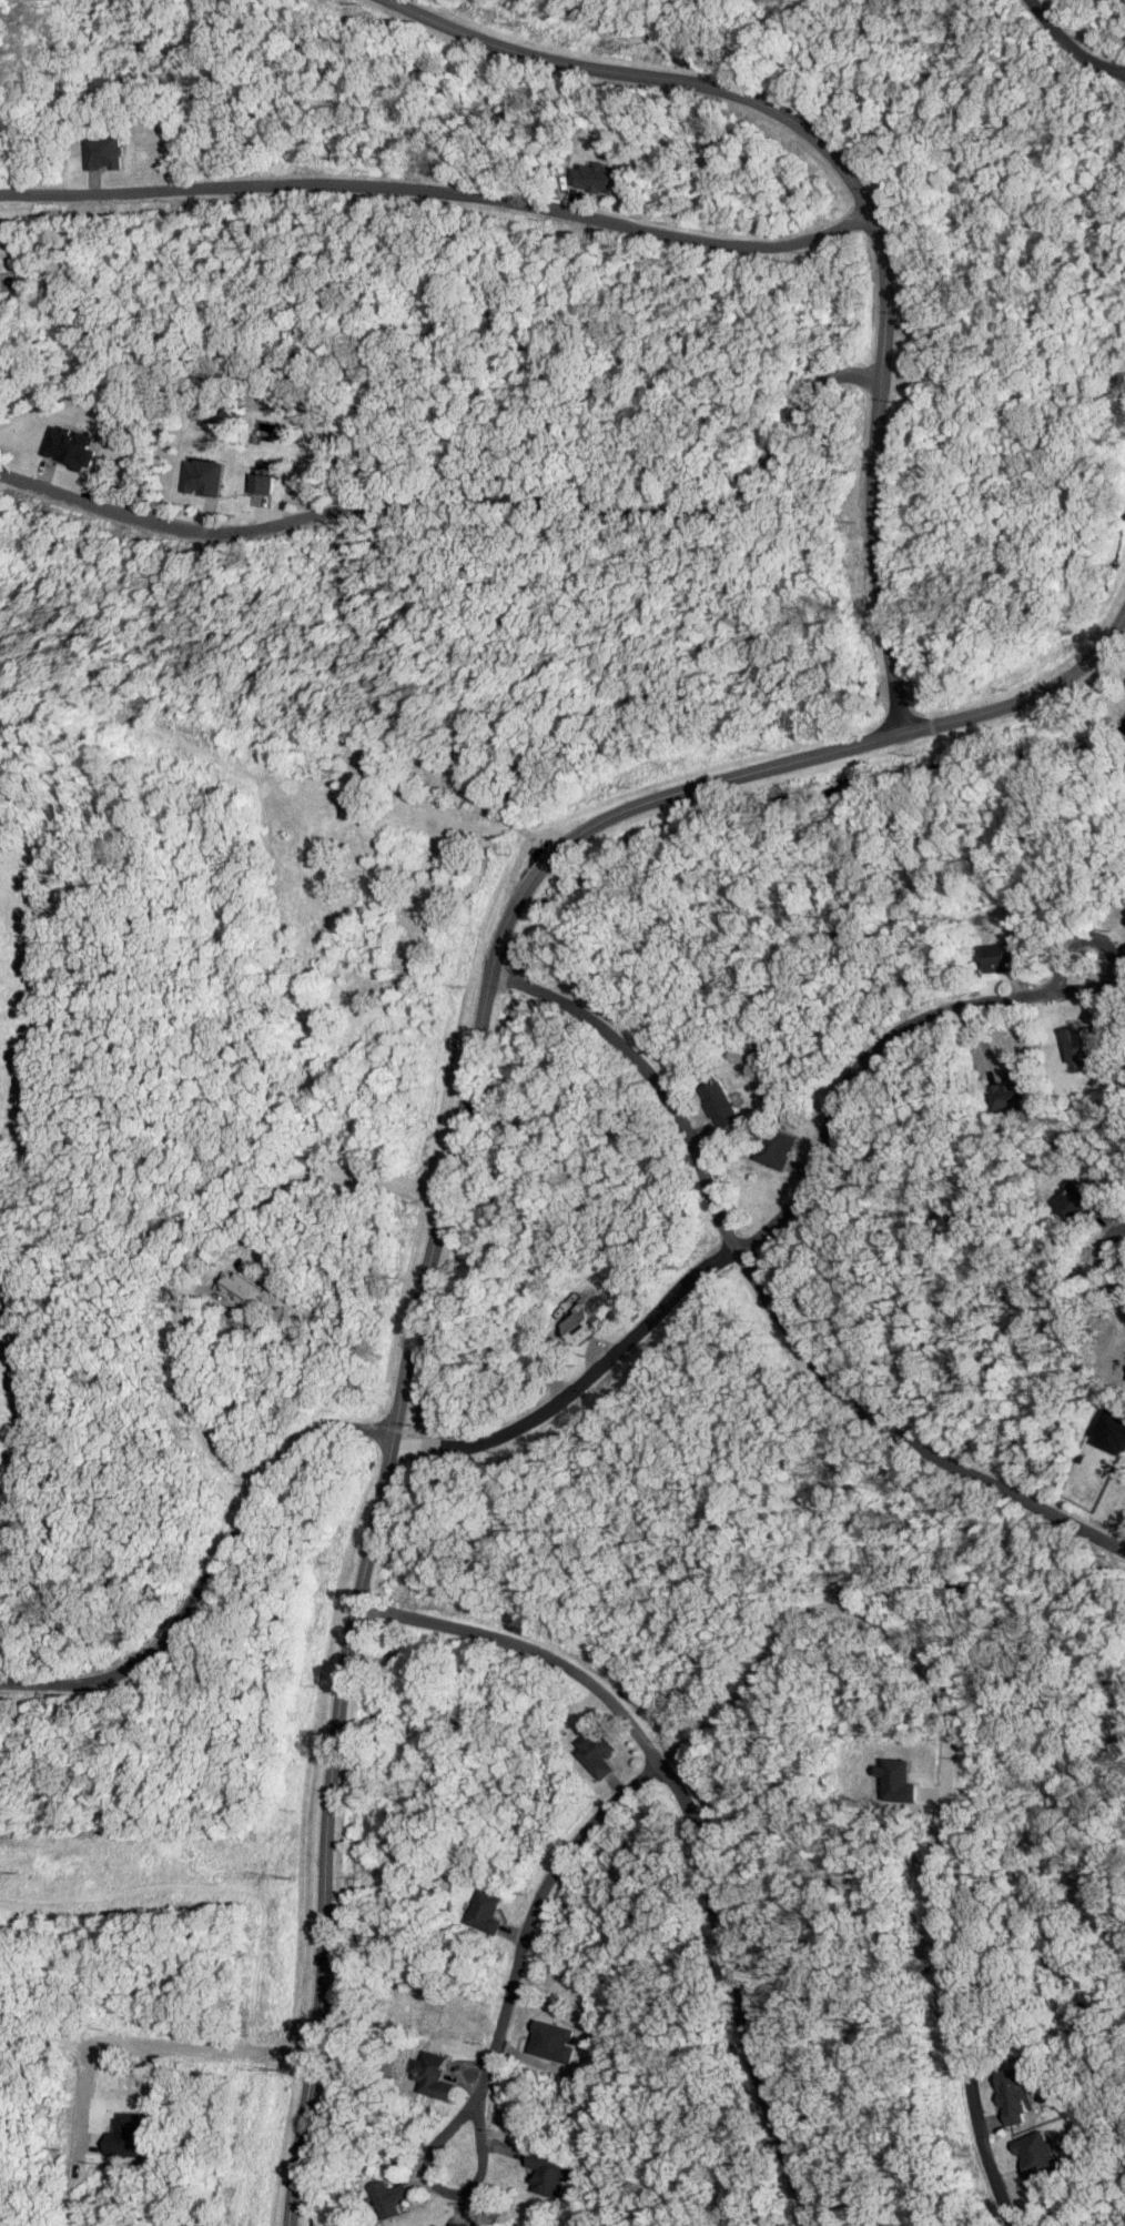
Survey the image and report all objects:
road: (605, 21)
road: (1071, 44)
road: (970, 130)
building: (103, 152)
building: (601, 177)
road: (439, 193)
road: (864, 203)
road: (1117, 233)
road: (940, 361)
building: (71, 446)
building: (204, 476)
building: (261, 483)
road: (470, 500)
road: (1123, 659)
road: (1124, 673)
building: (1001, 956)
building: (1083, 1044)
building: (1010, 1091)
building: (719, 1104)
building: (776, 1148)
building: (1077, 1203)
road: (438, 1215)
road: (767, 1230)
road: (207, 1252)
building: (237, 1288)
road: (764, 1297)
building: (576, 1324)
building: (1112, 1430)
road: (209, 1573)
building: (595, 1753)
road: (946, 1771)
building: (896, 1780)
road: (691, 1822)
building: (485, 1912)
road: (524, 1944)
building: (550, 2042)
road: (156, 2046)
building: (430, 2075)
building: (1012, 2095)
road: (79, 2134)
building: (123, 2135)
building: (1036, 2154)
road: (724, 2169)
building: (545, 2173)
building: (387, 2198)
building: (458, 2224)

